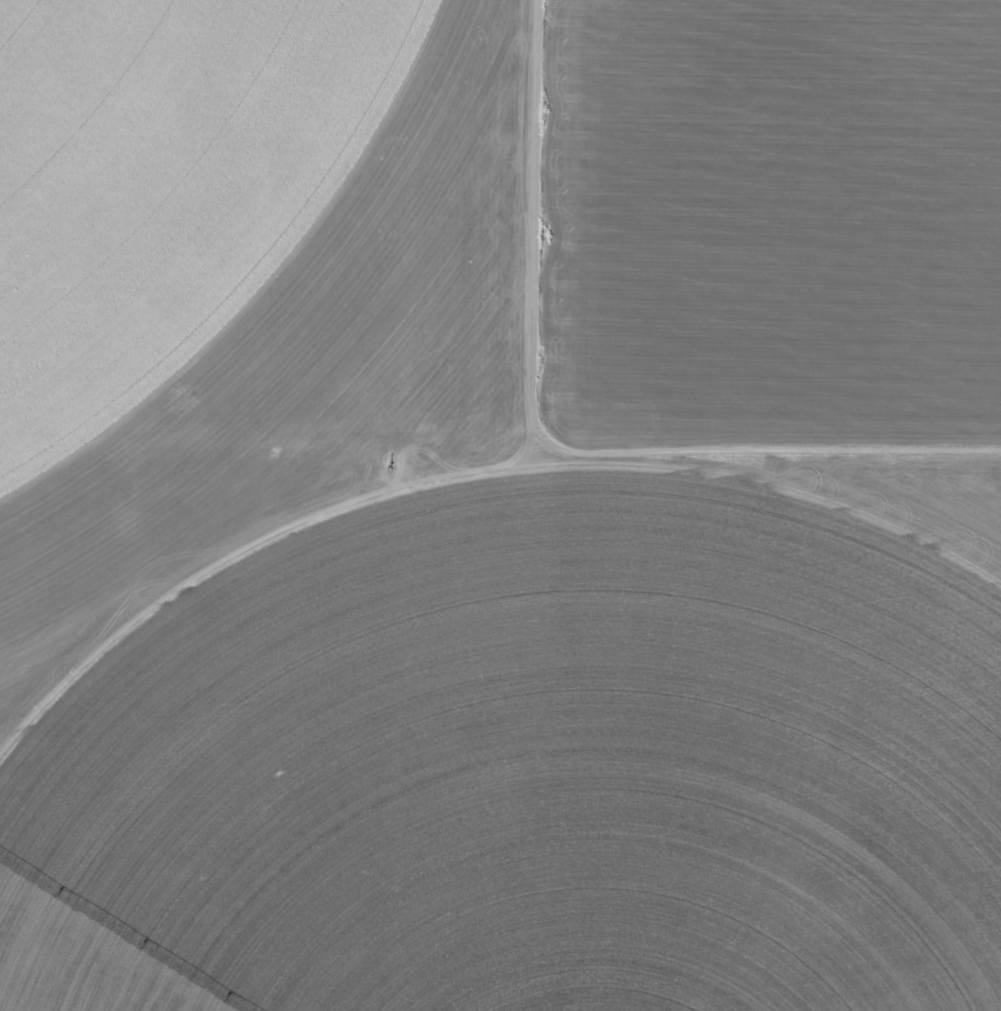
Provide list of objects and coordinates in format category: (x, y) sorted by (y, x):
road: (545, 447)

